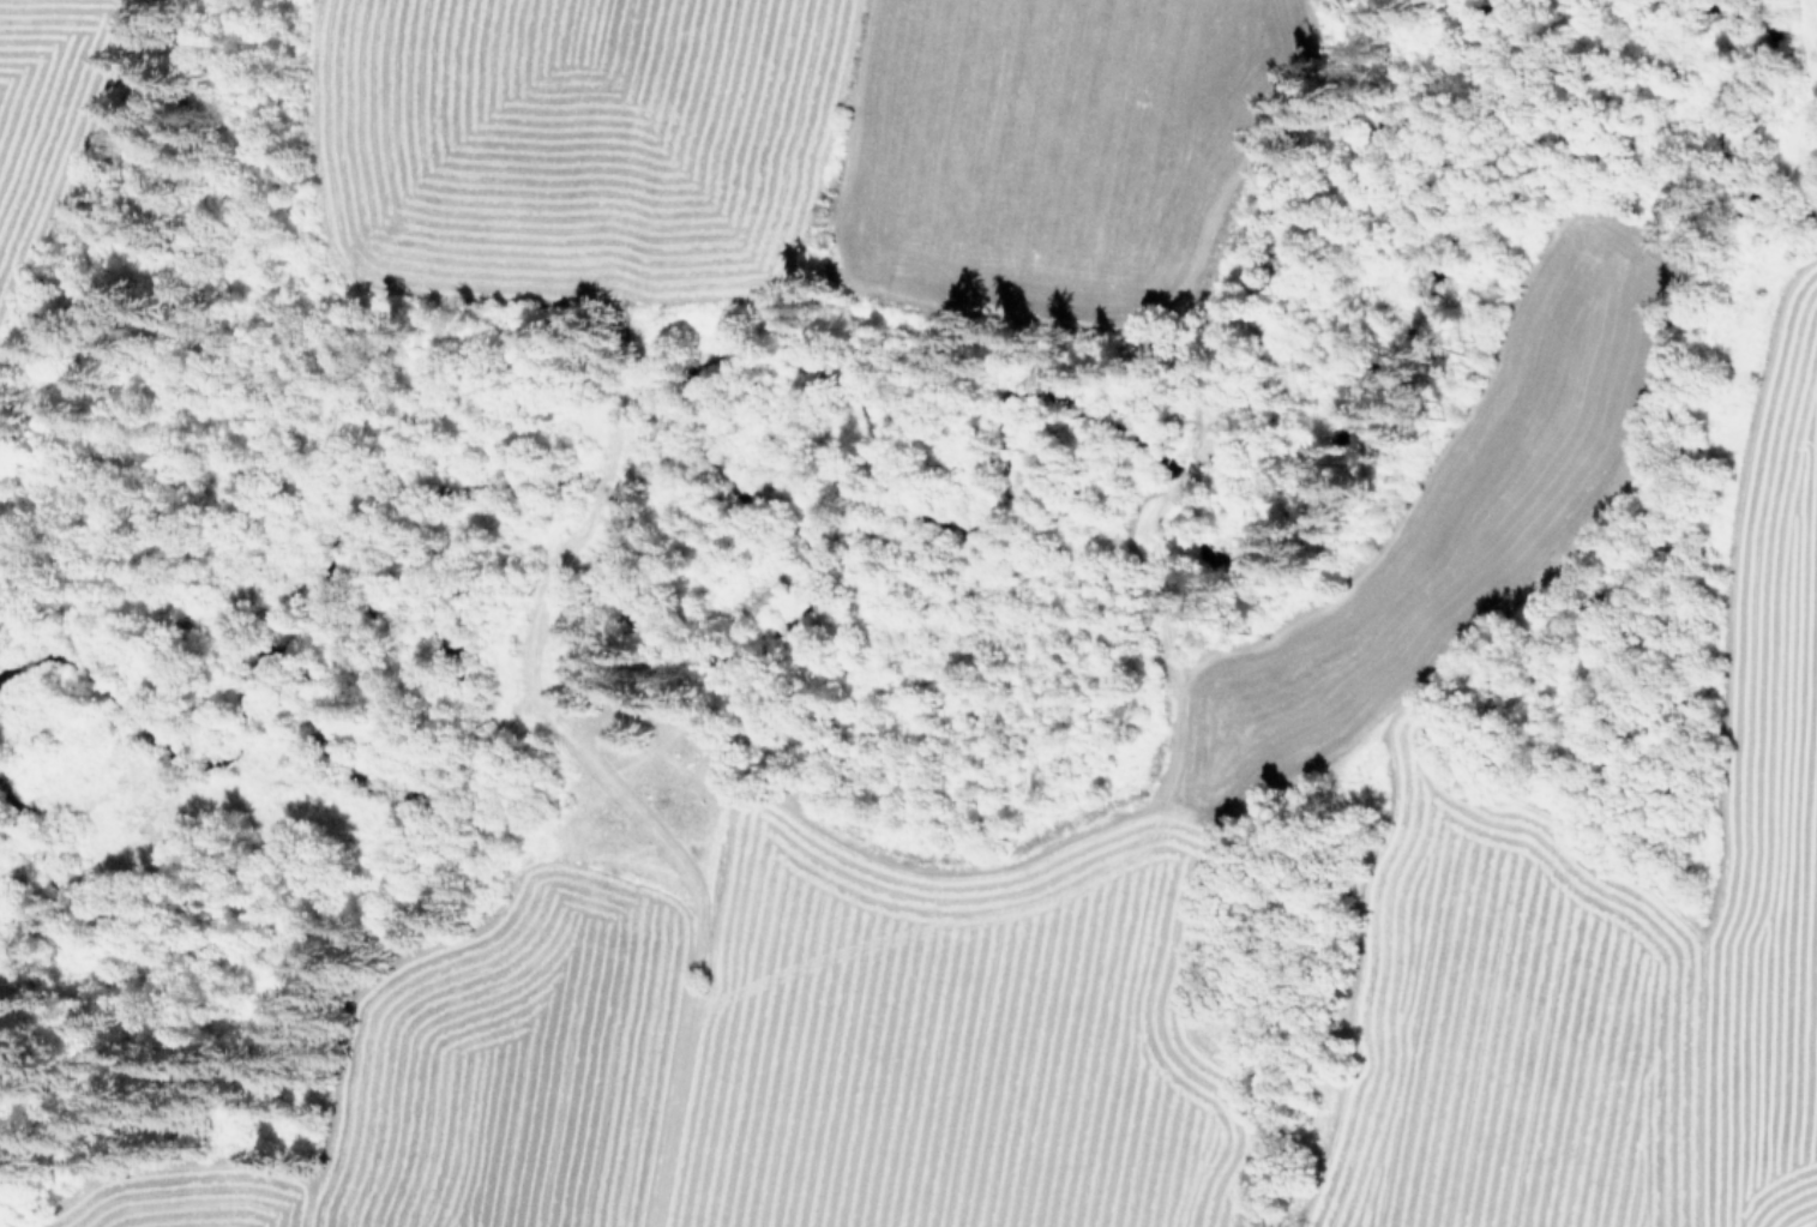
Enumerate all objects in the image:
crop: (29, 86)
crop: (783, 131)
river: (915, 451)
crop: (1107, 1004)

